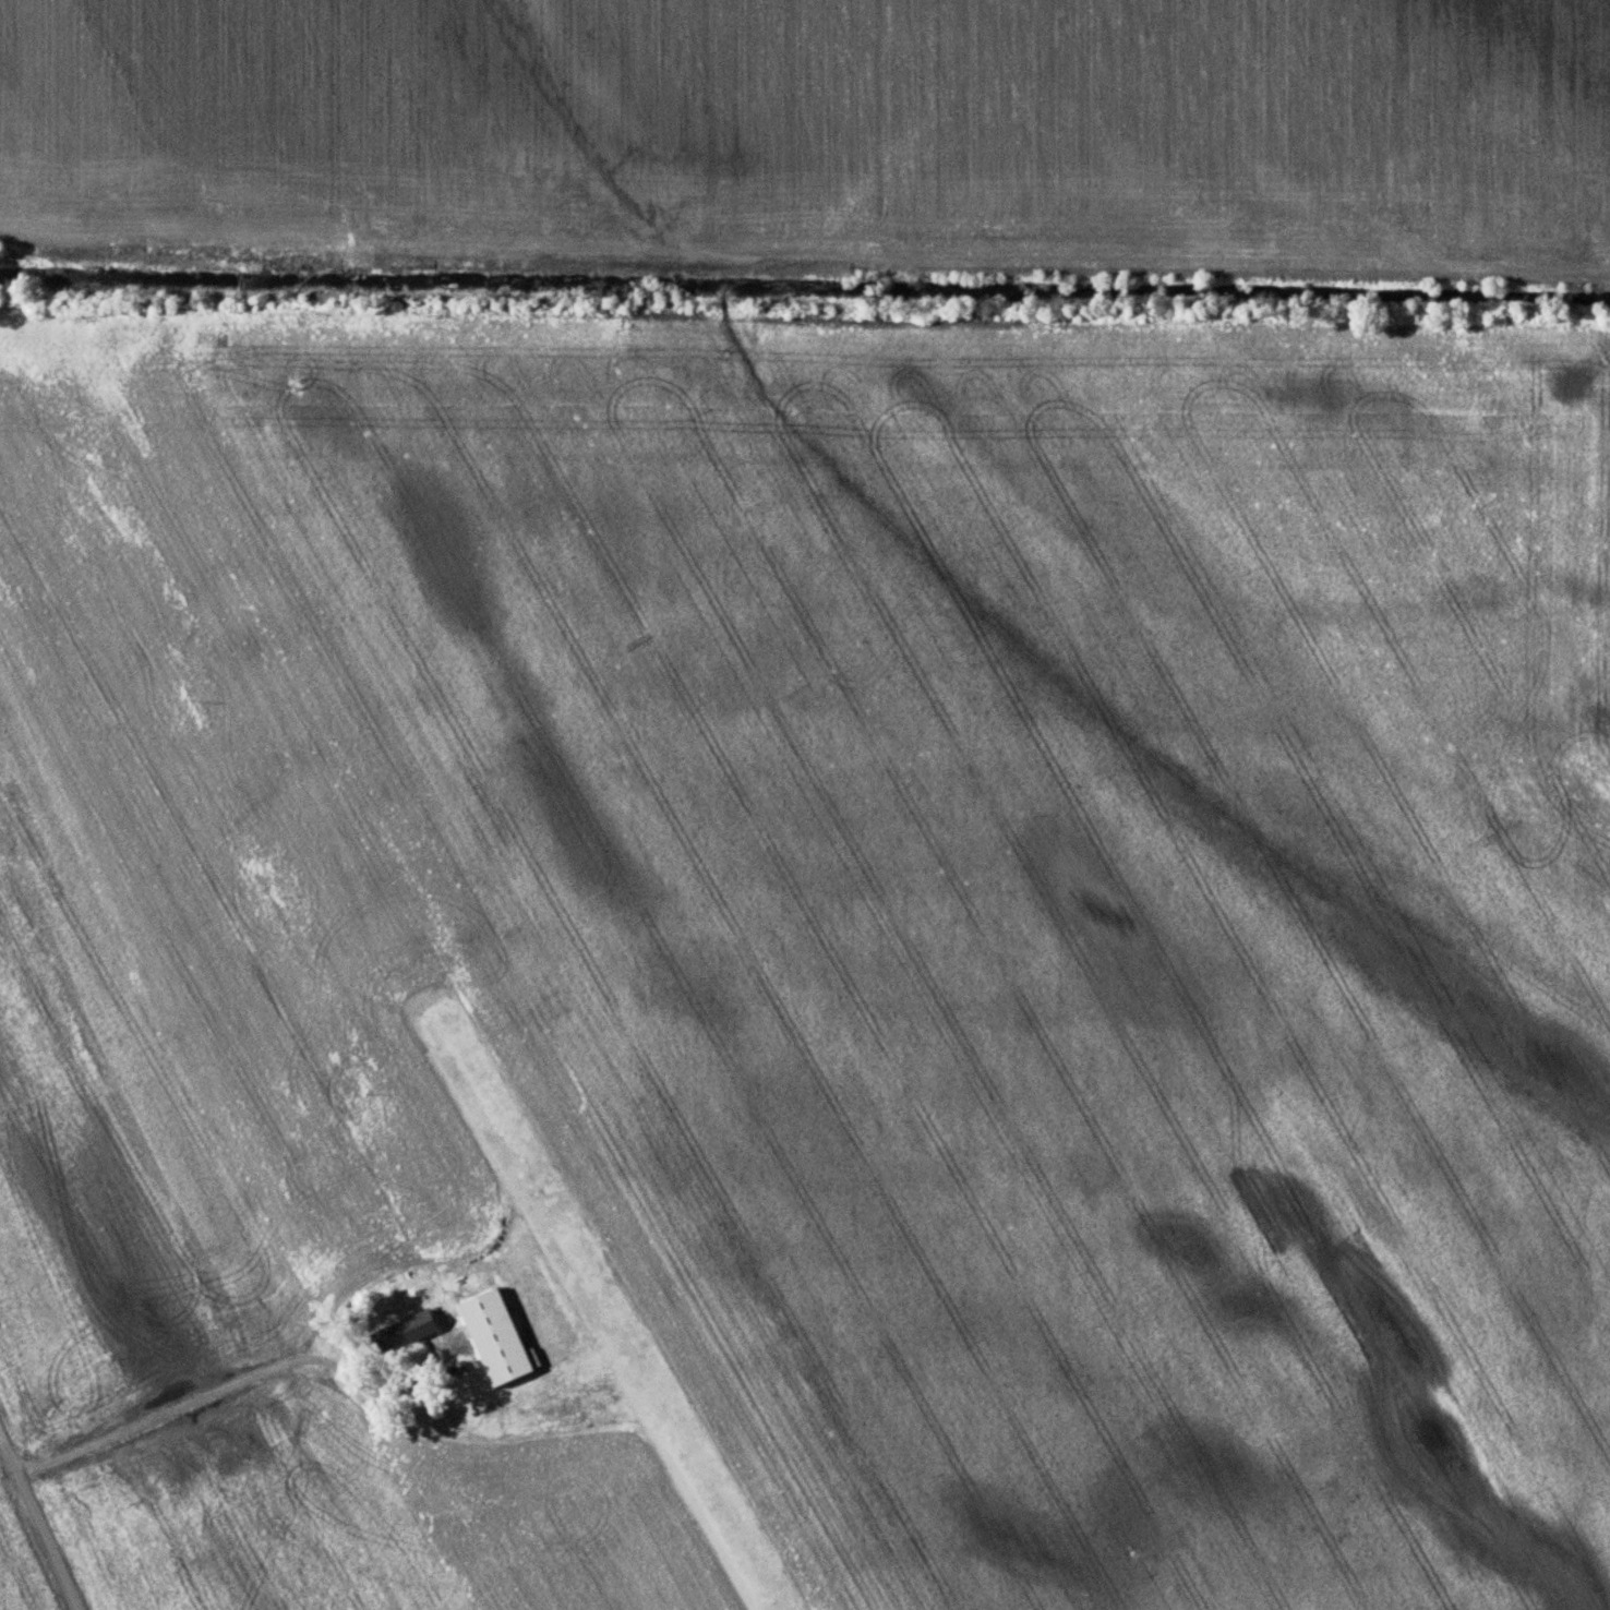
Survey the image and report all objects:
building: (545, 1315)
building: (404, 1333)
building: (494, 1338)
road: (240, 1385)
road: (41, 1518)

